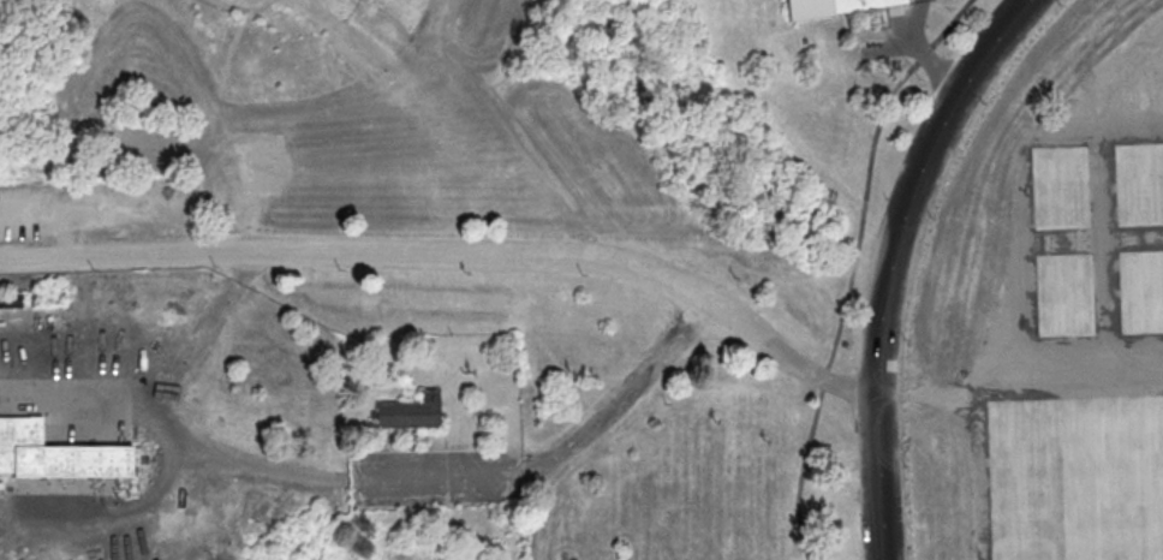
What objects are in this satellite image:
road: (238, 6)
building: (827, 6)
road: (347, 37)
road: (339, 44)
road: (889, 46)
road: (922, 50)
road: (227, 56)
park: (1138, 183)
park: (1058, 185)
parking lot: (97, 208)
road: (71, 244)
road: (567, 251)
road: (889, 261)
road: (852, 267)
park: (581, 280)
park: (1139, 291)
park: (1064, 294)
building: (8, 298)
road: (209, 316)
parking lot: (663, 348)
building: (408, 410)
road: (161, 412)
building: (54, 453)
road: (554, 453)
parking lot: (430, 476)
park: (1078, 477)
road: (112, 510)

